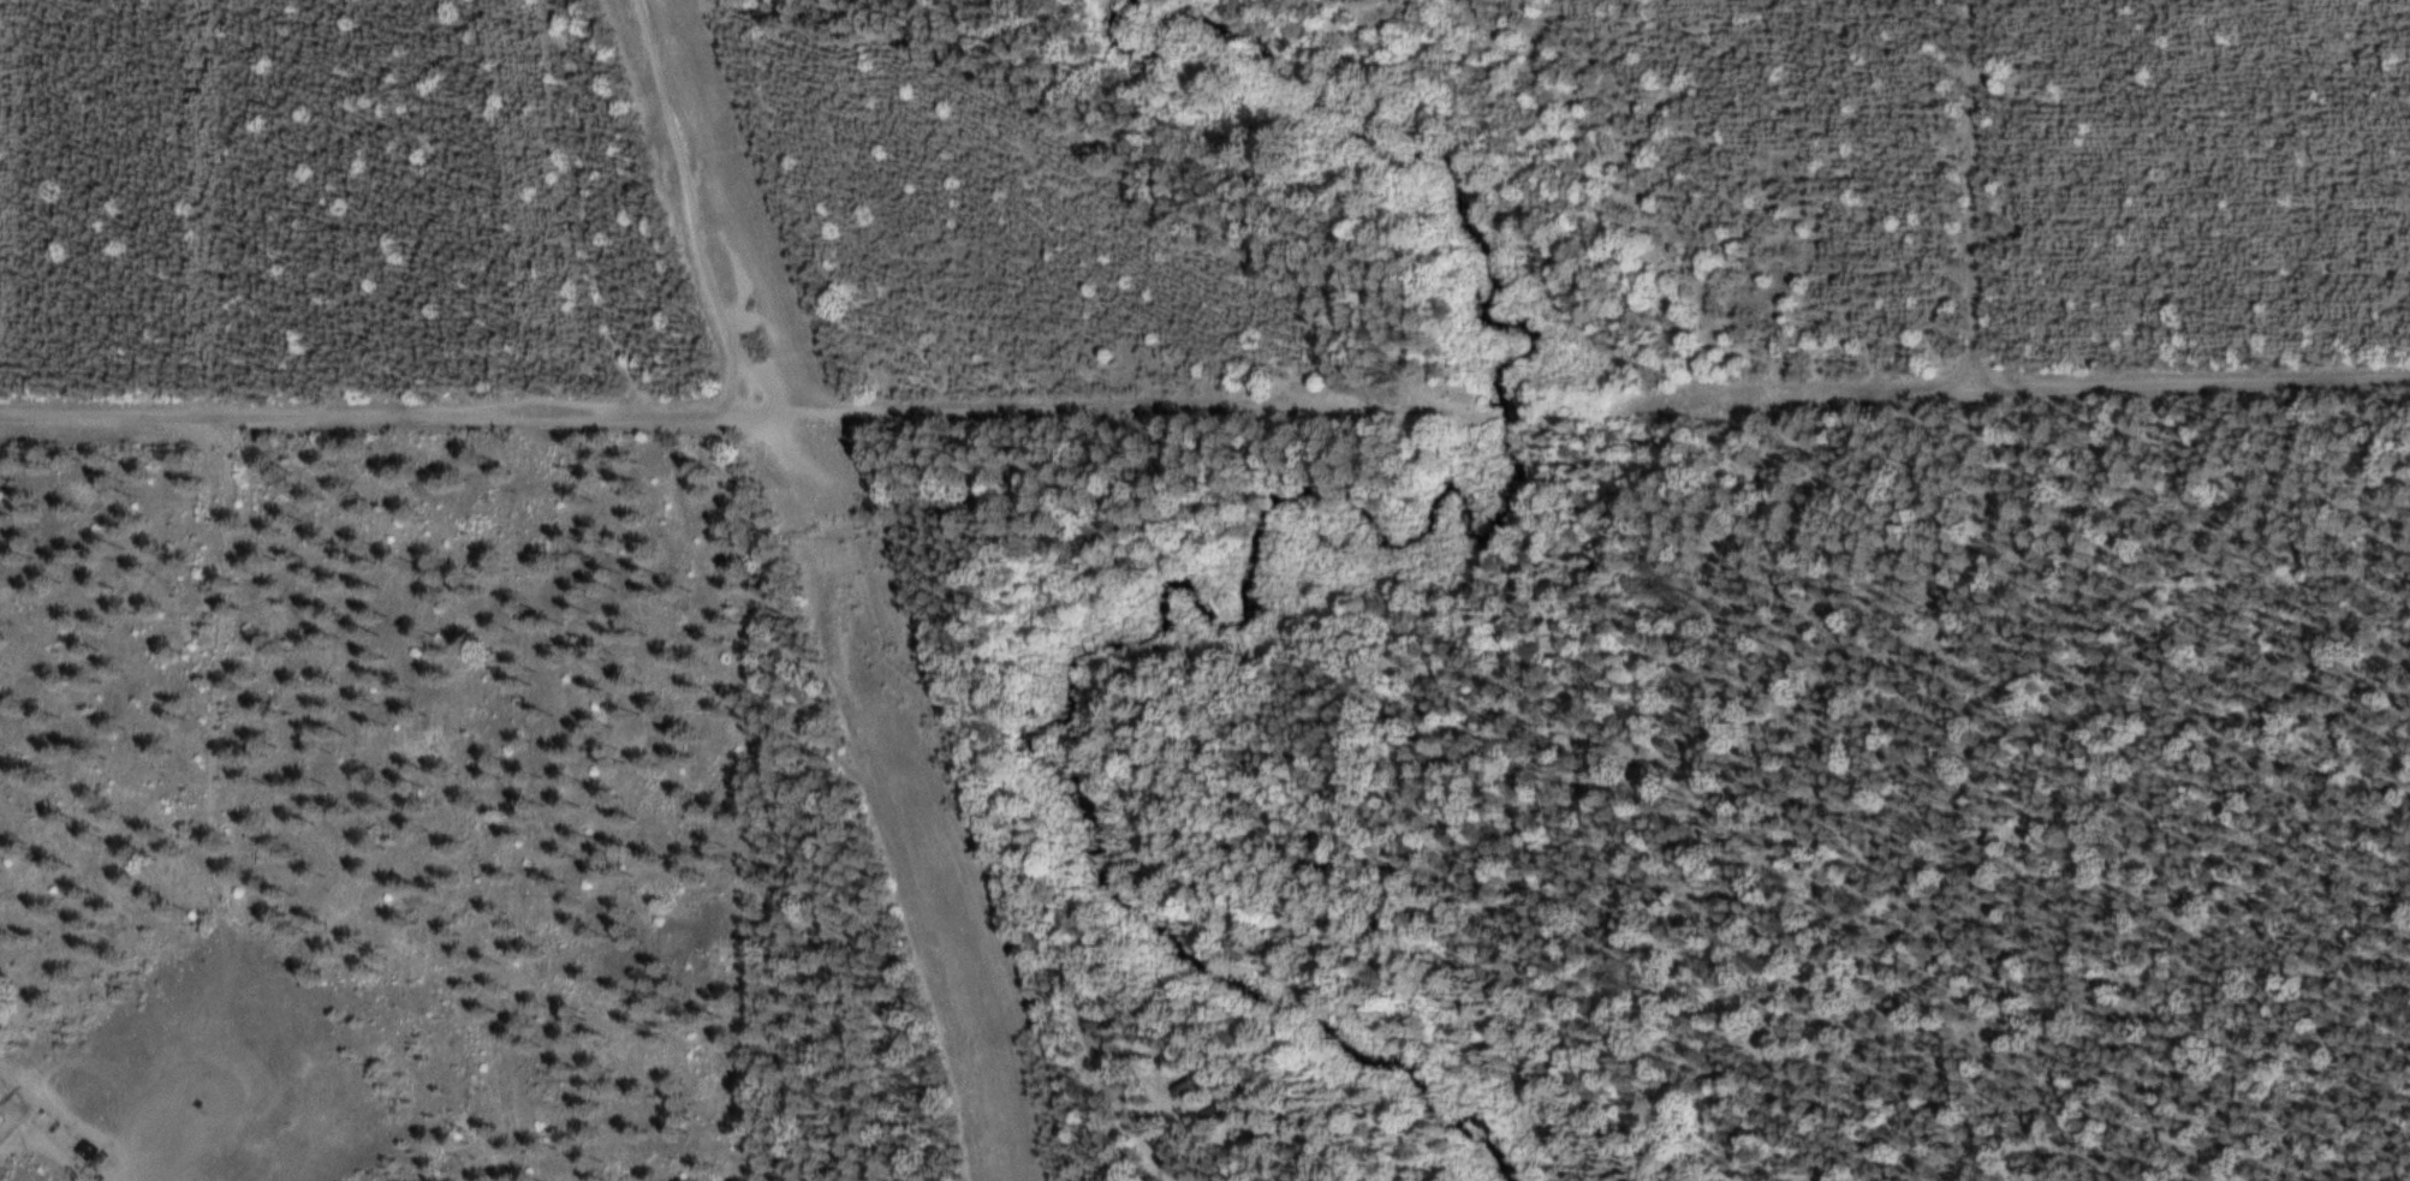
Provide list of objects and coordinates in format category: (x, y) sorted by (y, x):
road: (1960, 199)
road: (692, 205)
road: (2100, 389)
road: (682, 418)
road: (739, 649)
road: (1828, 805)
road: (204, 807)
building: (1179, 1085)

